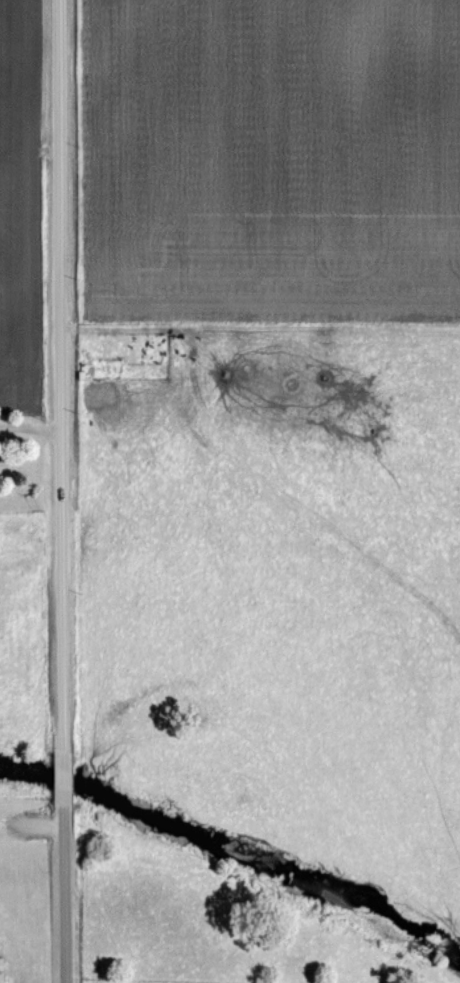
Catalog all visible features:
road: (29, 426)
road: (59, 491)

